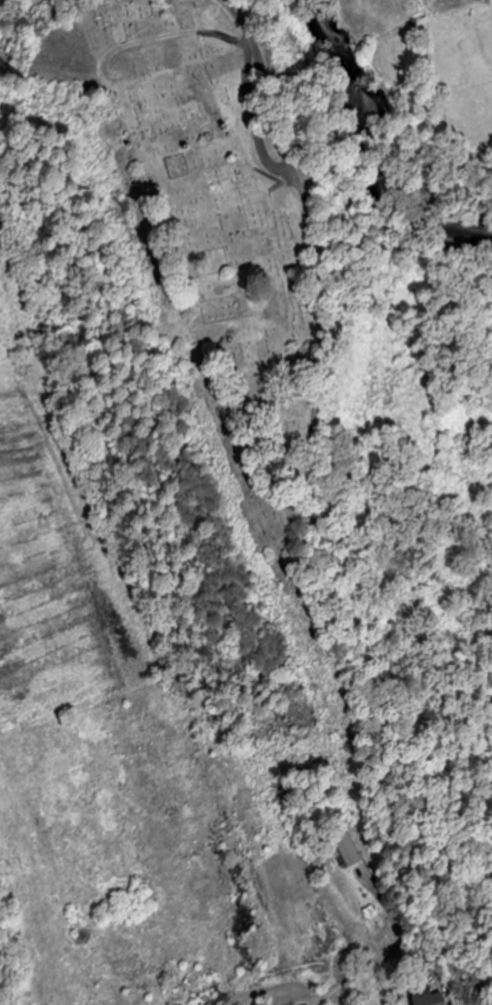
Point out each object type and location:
road: (165, 37)
road: (262, 82)
road: (253, 115)
river: (375, 145)
road: (276, 178)
road: (284, 180)
park: (222, 250)
road: (325, 341)
building: (343, 852)
park: (467, 890)
road: (285, 980)
building: (423, 998)

